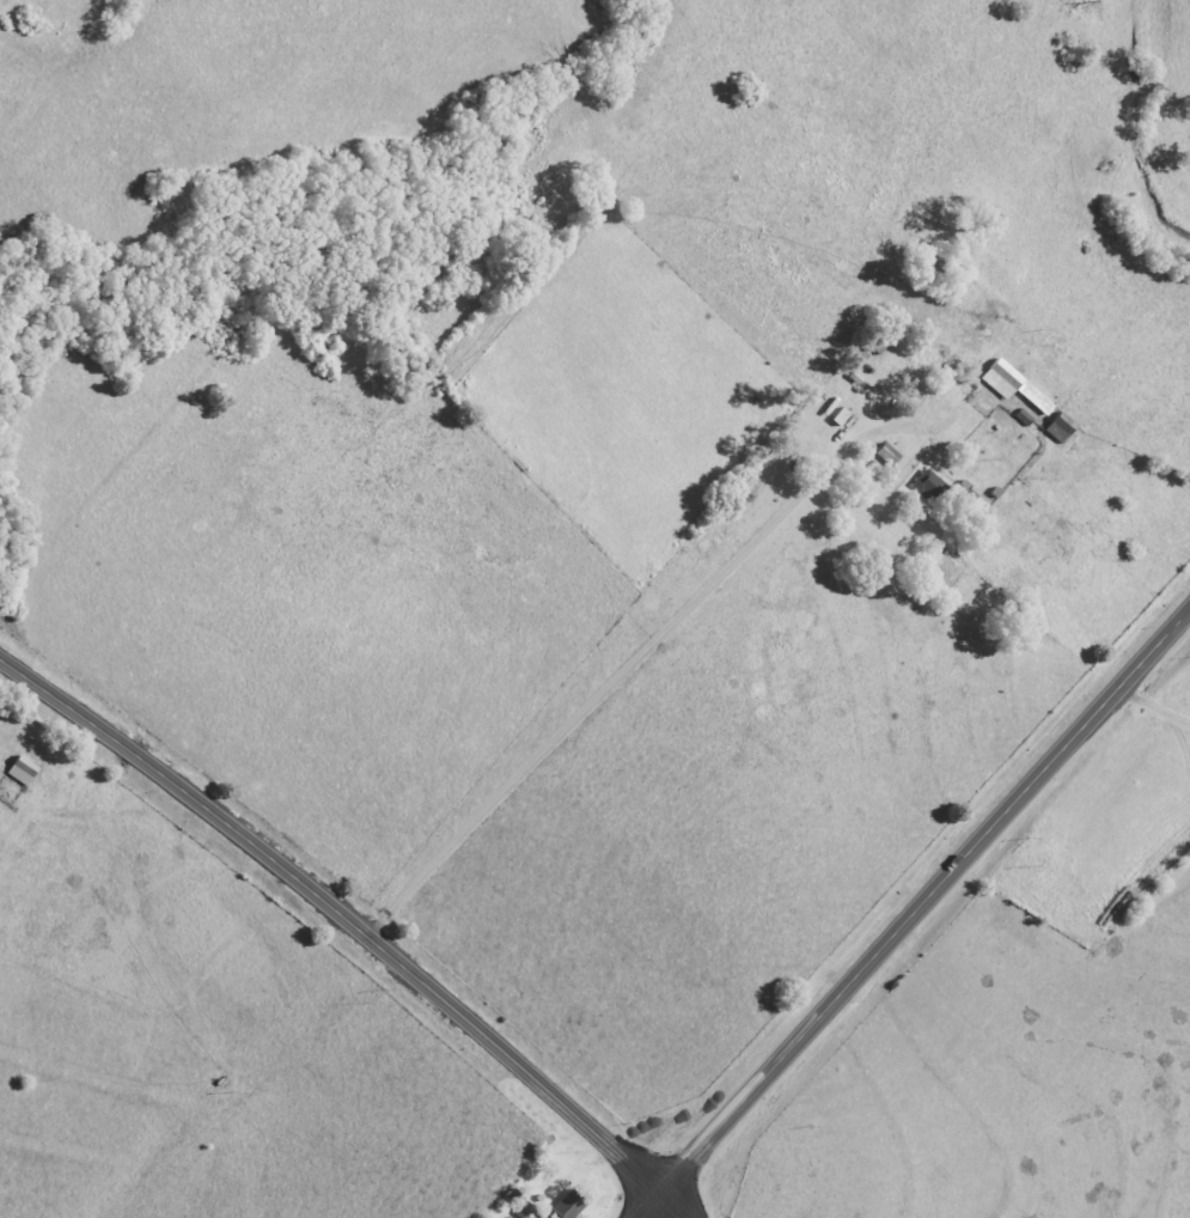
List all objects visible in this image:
building: (1009, 394)
building: (1061, 427)
building: (969, 492)
road: (614, 683)
road: (1148, 713)
road: (914, 915)
road: (355, 921)
building: (572, 1205)

